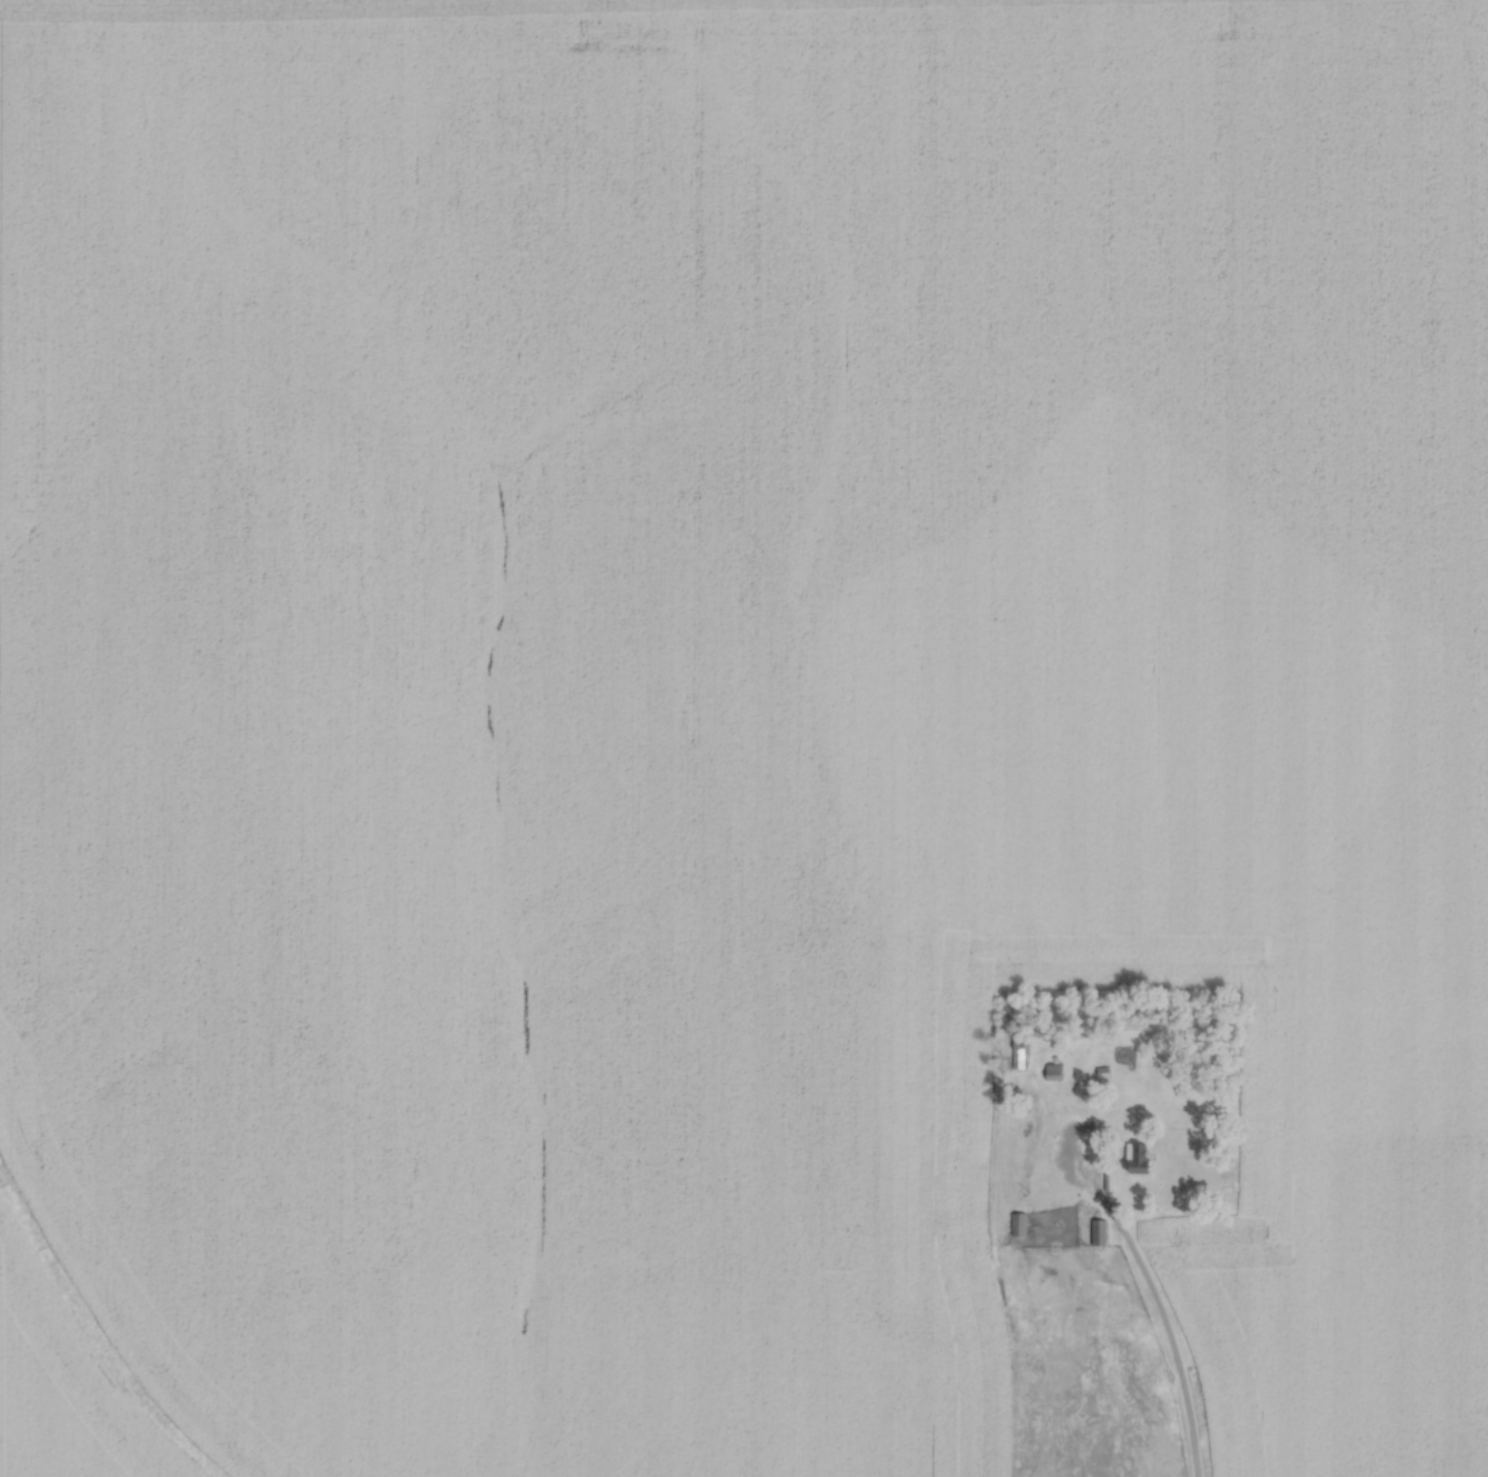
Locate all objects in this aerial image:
building: (1054, 1067)
building: (1029, 1120)
building: (1139, 1152)
building: (1099, 1227)
road: (1161, 1324)

